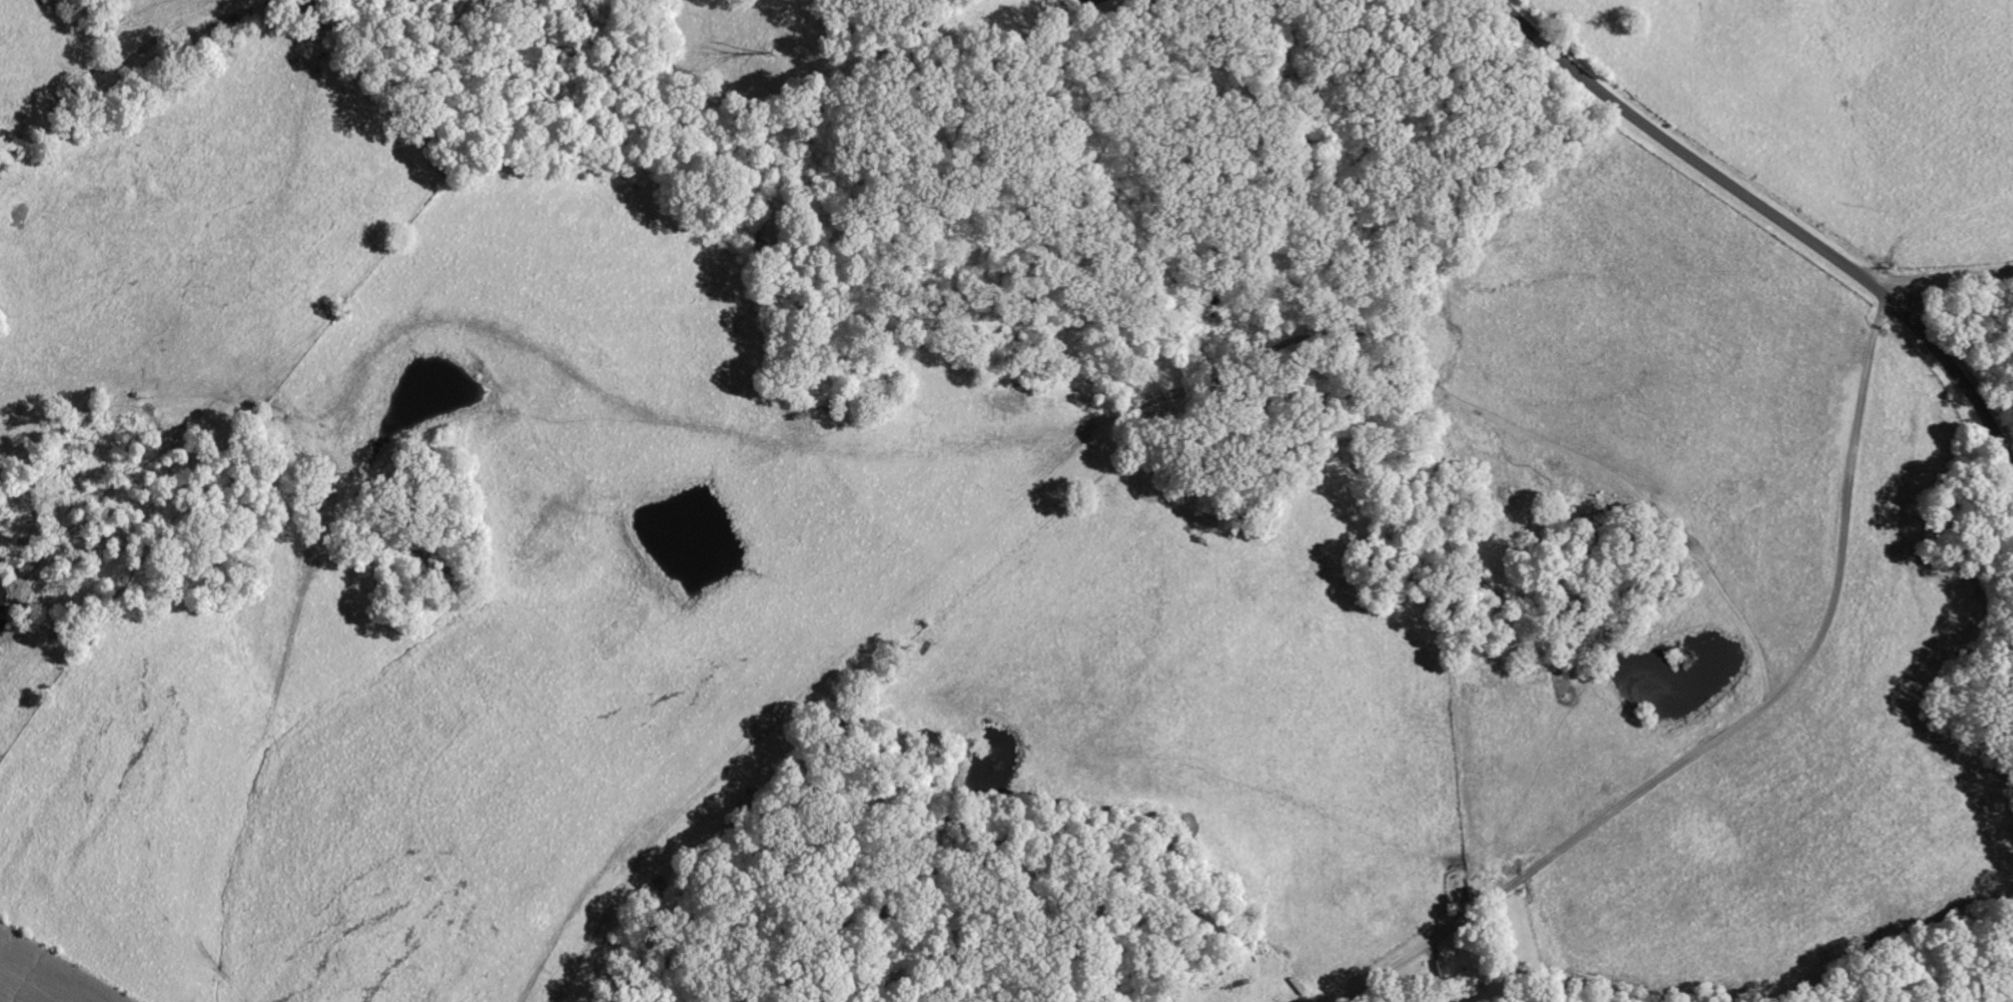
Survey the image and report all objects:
building: (1063, 1)
road: (1679, 154)
road: (1943, 277)
road: (1882, 300)
road: (1958, 382)
road: (1727, 731)
building: (1468, 983)

